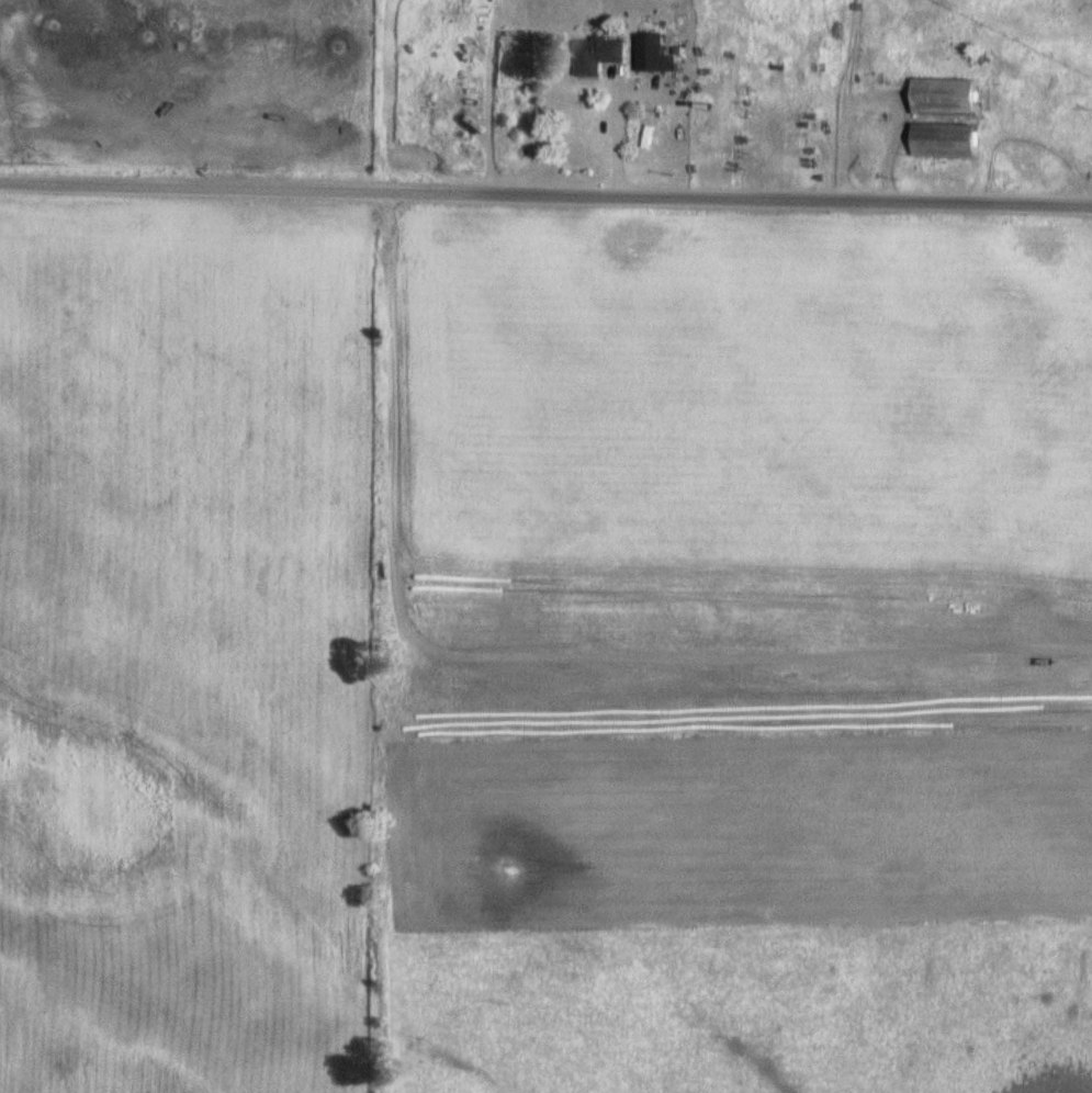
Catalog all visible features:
building: (652, 53)
building: (598, 56)
road: (866, 97)
building: (948, 98)
road: (818, 104)
road: (607, 133)
building: (948, 142)
road: (545, 202)
road: (1091, 206)
road: (1033, 728)

